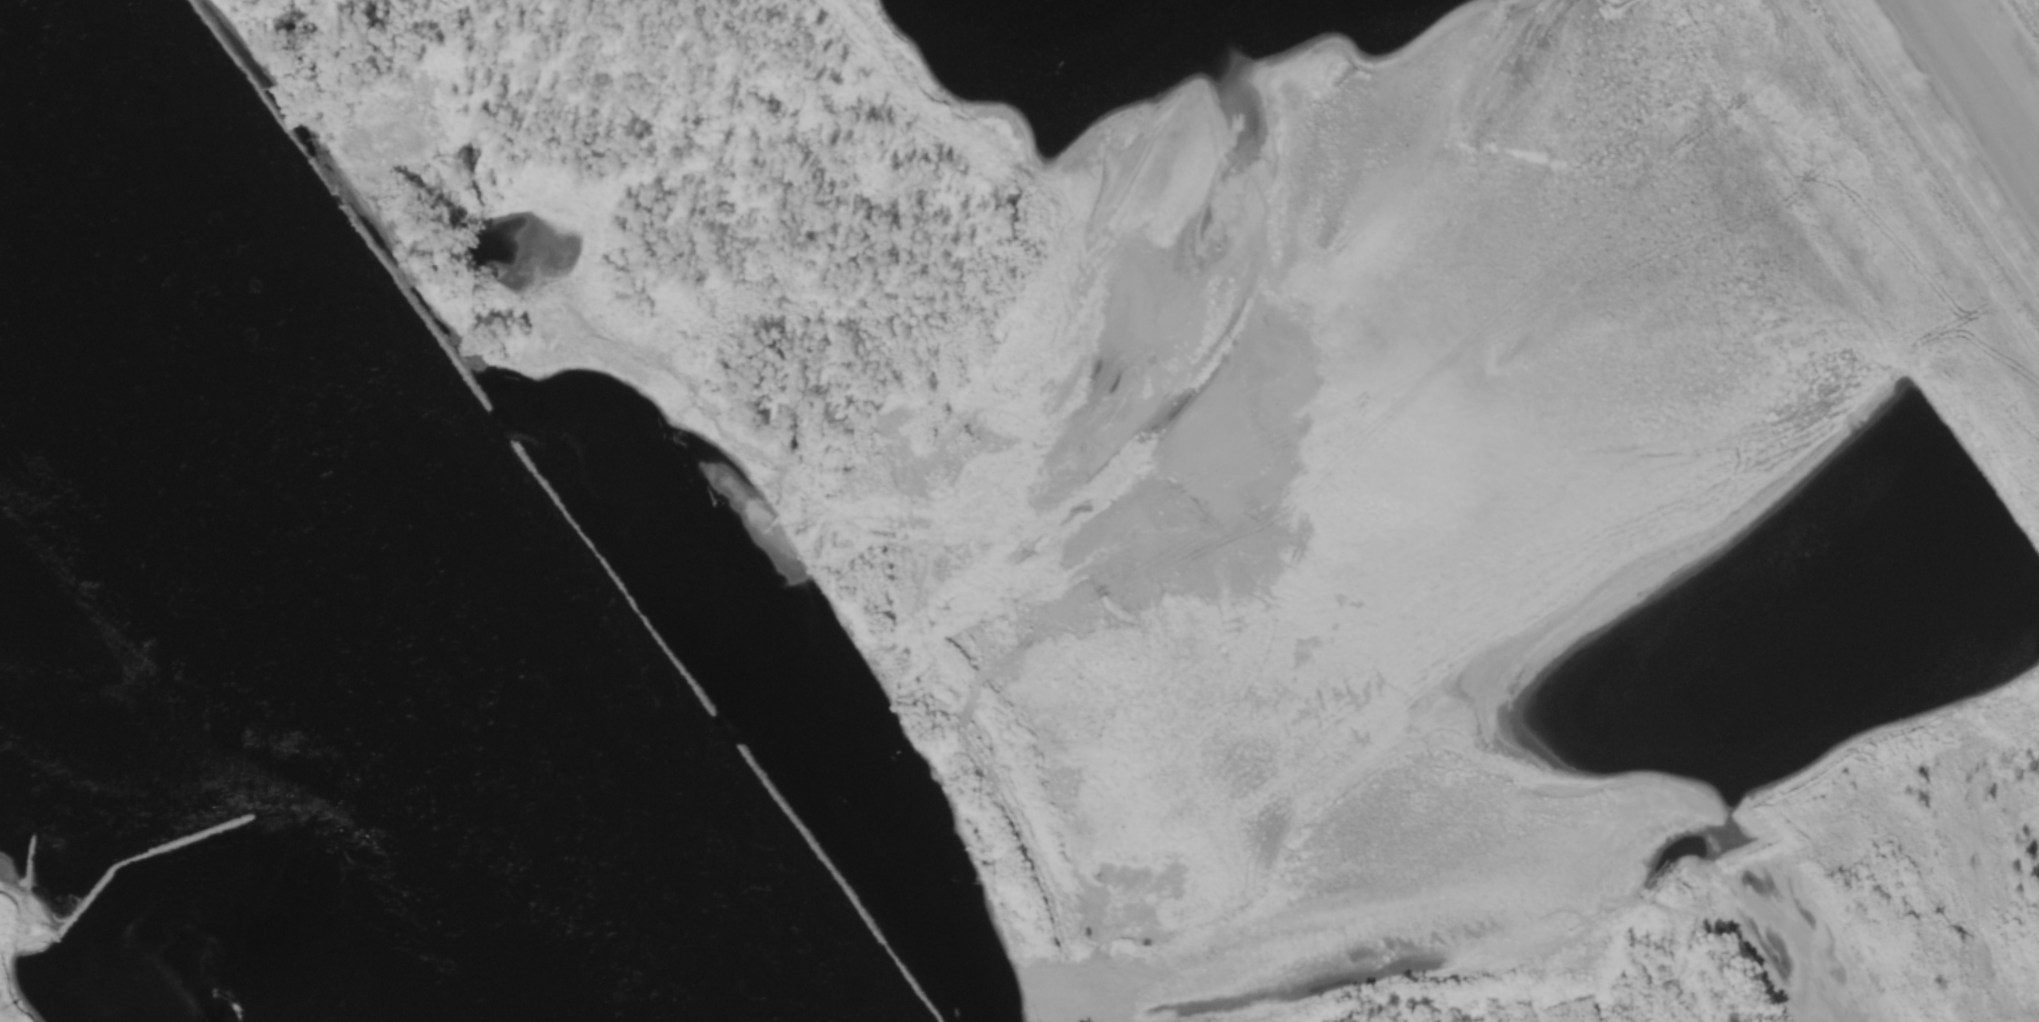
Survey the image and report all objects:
river: (319, 576)

